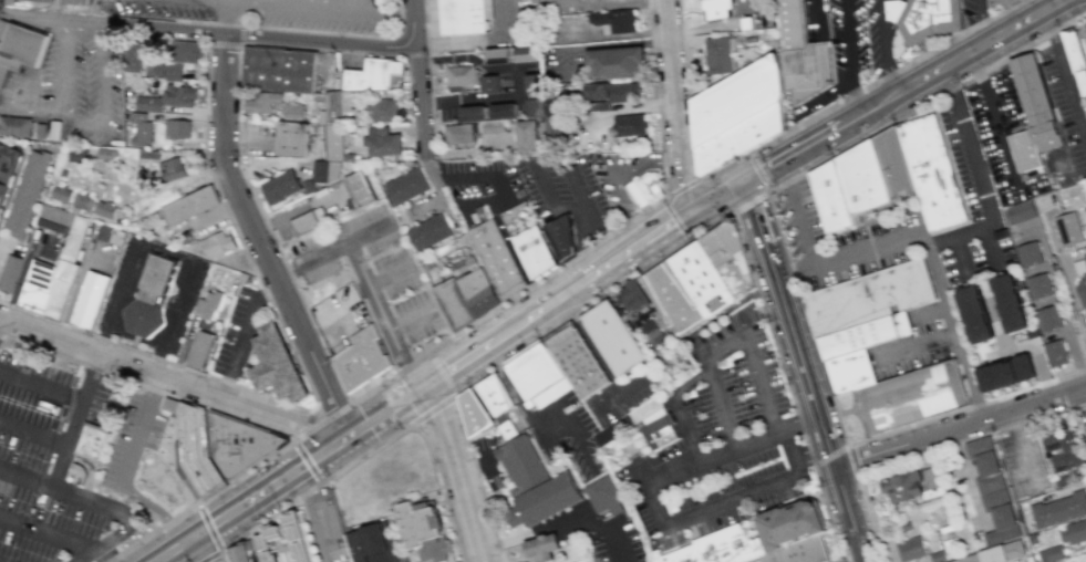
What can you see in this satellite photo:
building: (45, 0)
building: (72, 1)
building: (6, 2)
road: (182, 2)
road: (607, 3)
road: (218, 4)
parking lot: (995, 4)
parking lot: (559, 7)
building: (714, 9)
road: (320, 11)
road: (1014, 11)
parking lot: (262, 13)
parking lot: (973, 13)
building: (464, 15)
building: (925, 18)
road: (228, 20)
building: (614, 20)
road: (58, 21)
road: (976, 21)
building: (748, 22)
road: (275, 28)
road: (173, 30)
road: (208, 32)
road: (238, 33)
parking lot: (878, 37)
parking lot: (1084, 38)
road: (321, 41)
road: (482, 41)
road: (223, 42)
parking lot: (847, 42)
road: (976, 45)
building: (19, 46)
road: (886, 46)
building: (185, 51)
building: (136, 54)
building: (513, 54)
building: (718, 54)
building: (803, 55)
road: (850, 56)
building: (1074, 56)
building: (616, 62)
building: (278, 67)
building: (154, 69)
building: (174, 72)
building: (372, 73)
road: (1064, 75)
road: (430, 77)
road: (517, 77)
road: (885, 77)
building: (470, 80)
parking lot: (73, 81)
road: (416, 81)
road: (685, 89)
road: (61, 93)
building: (178, 94)
building: (534, 94)
building: (614, 94)
road: (655, 98)
road: (102, 101)
building: (349, 101)
building: (261, 102)
road: (927, 102)
building: (1035, 102)
building: (148, 103)
road: (673, 104)
building: (599, 105)
parking lot: (1065, 105)
building: (383, 110)
building: (292, 112)
building: (487, 112)
building: (734, 115)
building: (552, 119)
building: (494, 125)
building: (15, 126)
building: (629, 127)
building: (141, 128)
building: (176, 128)
building: (40, 129)
building: (55, 129)
building: (458, 133)
building: (527, 135)
road: (819, 136)
building: (291, 138)
building: (333, 142)
building: (382, 142)
road: (969, 149)
building: (1023, 150)
building: (105, 154)
building: (148, 154)
building: (76, 155)
building: (8, 158)
road: (537, 166)
road: (722, 167)
building: (894, 167)
building: (172, 169)
building: (319, 170)
building: (62, 171)
road: (612, 171)
building: (932, 176)
building: (3, 177)
road: (466, 177)
parking lot: (620, 177)
traffic signals: (743, 180)
parking lot: (479, 181)
building: (862, 181)
building: (280, 186)
building: (308, 186)
road: (680, 186)
building: (406, 188)
building: (643, 189)
building: (2, 190)
building: (359, 190)
road: (766, 190)
building: (27, 191)
road: (720, 192)
building: (60, 194)
parking lot: (567, 195)
road: (442, 199)
building: (82, 201)
building: (831, 201)
building: (188, 205)
traffic signals: (696, 205)
parking lot: (971, 208)
building: (104, 209)
building: (1020, 211)
building: (480, 214)
building: (54, 218)
road: (675, 219)
building: (308, 220)
road: (659, 227)
road: (269, 228)
road: (764, 228)
building: (1067, 229)
road: (504, 230)
road: (803, 230)
building: (103, 232)
road: (236, 232)
building: (427, 232)
road: (366, 233)
building: (560, 236)
building: (528, 239)
road: (583, 239)
road: (954, 239)
road: (598, 240)
road: (255, 241)
parking lot: (844, 242)
building: (217, 243)
road: (1, 248)
road: (989, 248)
road: (472, 249)
road: (165, 250)
road: (868, 250)
building: (1028, 253)
building: (496, 258)
road: (962, 258)
road: (310, 260)
road: (600, 266)
building: (464, 268)
building: (9, 271)
parking lot: (370, 273)
building: (52, 275)
road: (390, 278)
building: (700, 279)
building: (1080, 279)
road: (492, 285)
building: (1038, 285)
road: (569, 288)
building: (477, 292)
building: (89, 299)
building: (869, 299)
road: (741, 300)
building: (148, 301)
building: (453, 302)
road: (592, 302)
building: (1012, 302)
building: (206, 304)
building: (641, 308)
road: (383, 315)
road: (528, 315)
building: (976, 315)
parking lot: (339, 318)
road: (806, 318)
building: (1048, 318)
road: (411, 320)
road: (468, 325)
road: (953, 326)
parking lot: (236, 334)
road: (241, 336)
road: (772, 337)
building: (614, 340)
road: (730, 343)
parking lot: (917, 343)
road: (920, 344)
road: (1017, 346)
building: (198, 348)
building: (859, 351)
building: (1055, 353)
road: (152, 355)
road: (599, 355)
building: (360, 358)
road: (461, 358)
building: (578, 363)
building: (276, 365)
road: (439, 372)
building: (535, 372)
road: (809, 372)
building: (1004, 373)
road: (167, 377)
road: (508, 379)
road: (377, 385)
road: (40, 387)
road: (146, 387)
road: (629, 389)
building: (496, 395)
parking lot: (629, 395)
building: (912, 397)
road: (332, 403)
road: (1079, 404)
road: (965, 407)
road: (431, 409)
road: (848, 409)
building: (474, 413)
road: (321, 423)
road: (799, 423)
road: (299, 424)
road: (570, 425)
road: (685, 426)
road: (1079, 427)
road: (137, 428)
road: (962, 428)
building: (658, 431)
road: (33, 434)
parking lot: (567, 434)
road: (426, 438)
building: (91, 440)
parking lot: (723, 440)
parking lot: (132, 441)
building: (237, 445)
road: (209, 448)
building: (1061, 448)
road: (809, 451)
road: (786, 452)
building: (194, 454)
road: (921, 454)
road: (828, 455)
road: (851, 459)
parking lot: (42, 460)
road: (306, 460)
parking lot: (488, 460)
road: (472, 462)
building: (77, 470)
road: (89, 470)
road: (458, 470)
road: (289, 472)
road: (55, 475)
road: (477, 477)
building: (930, 477)
building: (536, 483)
building: (902, 487)
building: (992, 489)
building: (603, 497)
road: (85, 501)
road: (198, 501)
road: (652, 501)
building: (1058, 509)
road: (153, 510)
road: (826, 513)
road: (854, 513)
road: (310, 514)
road: (269, 516)
building: (331, 523)
road: (18, 525)
building: (790, 525)
building: (423, 529)
road: (607, 531)
building: (1073, 532)
parking lot: (602, 534)
building: (270, 535)
road: (213, 537)
building: (372, 543)
road: (201, 547)
building: (718, 548)
road: (97, 549)
building: (541, 549)
building: (910, 549)
building: (242, 552)
building: (801, 553)
building: (1051, 553)
building: (1000, 554)
road: (220, 556)
road: (861, 560)

